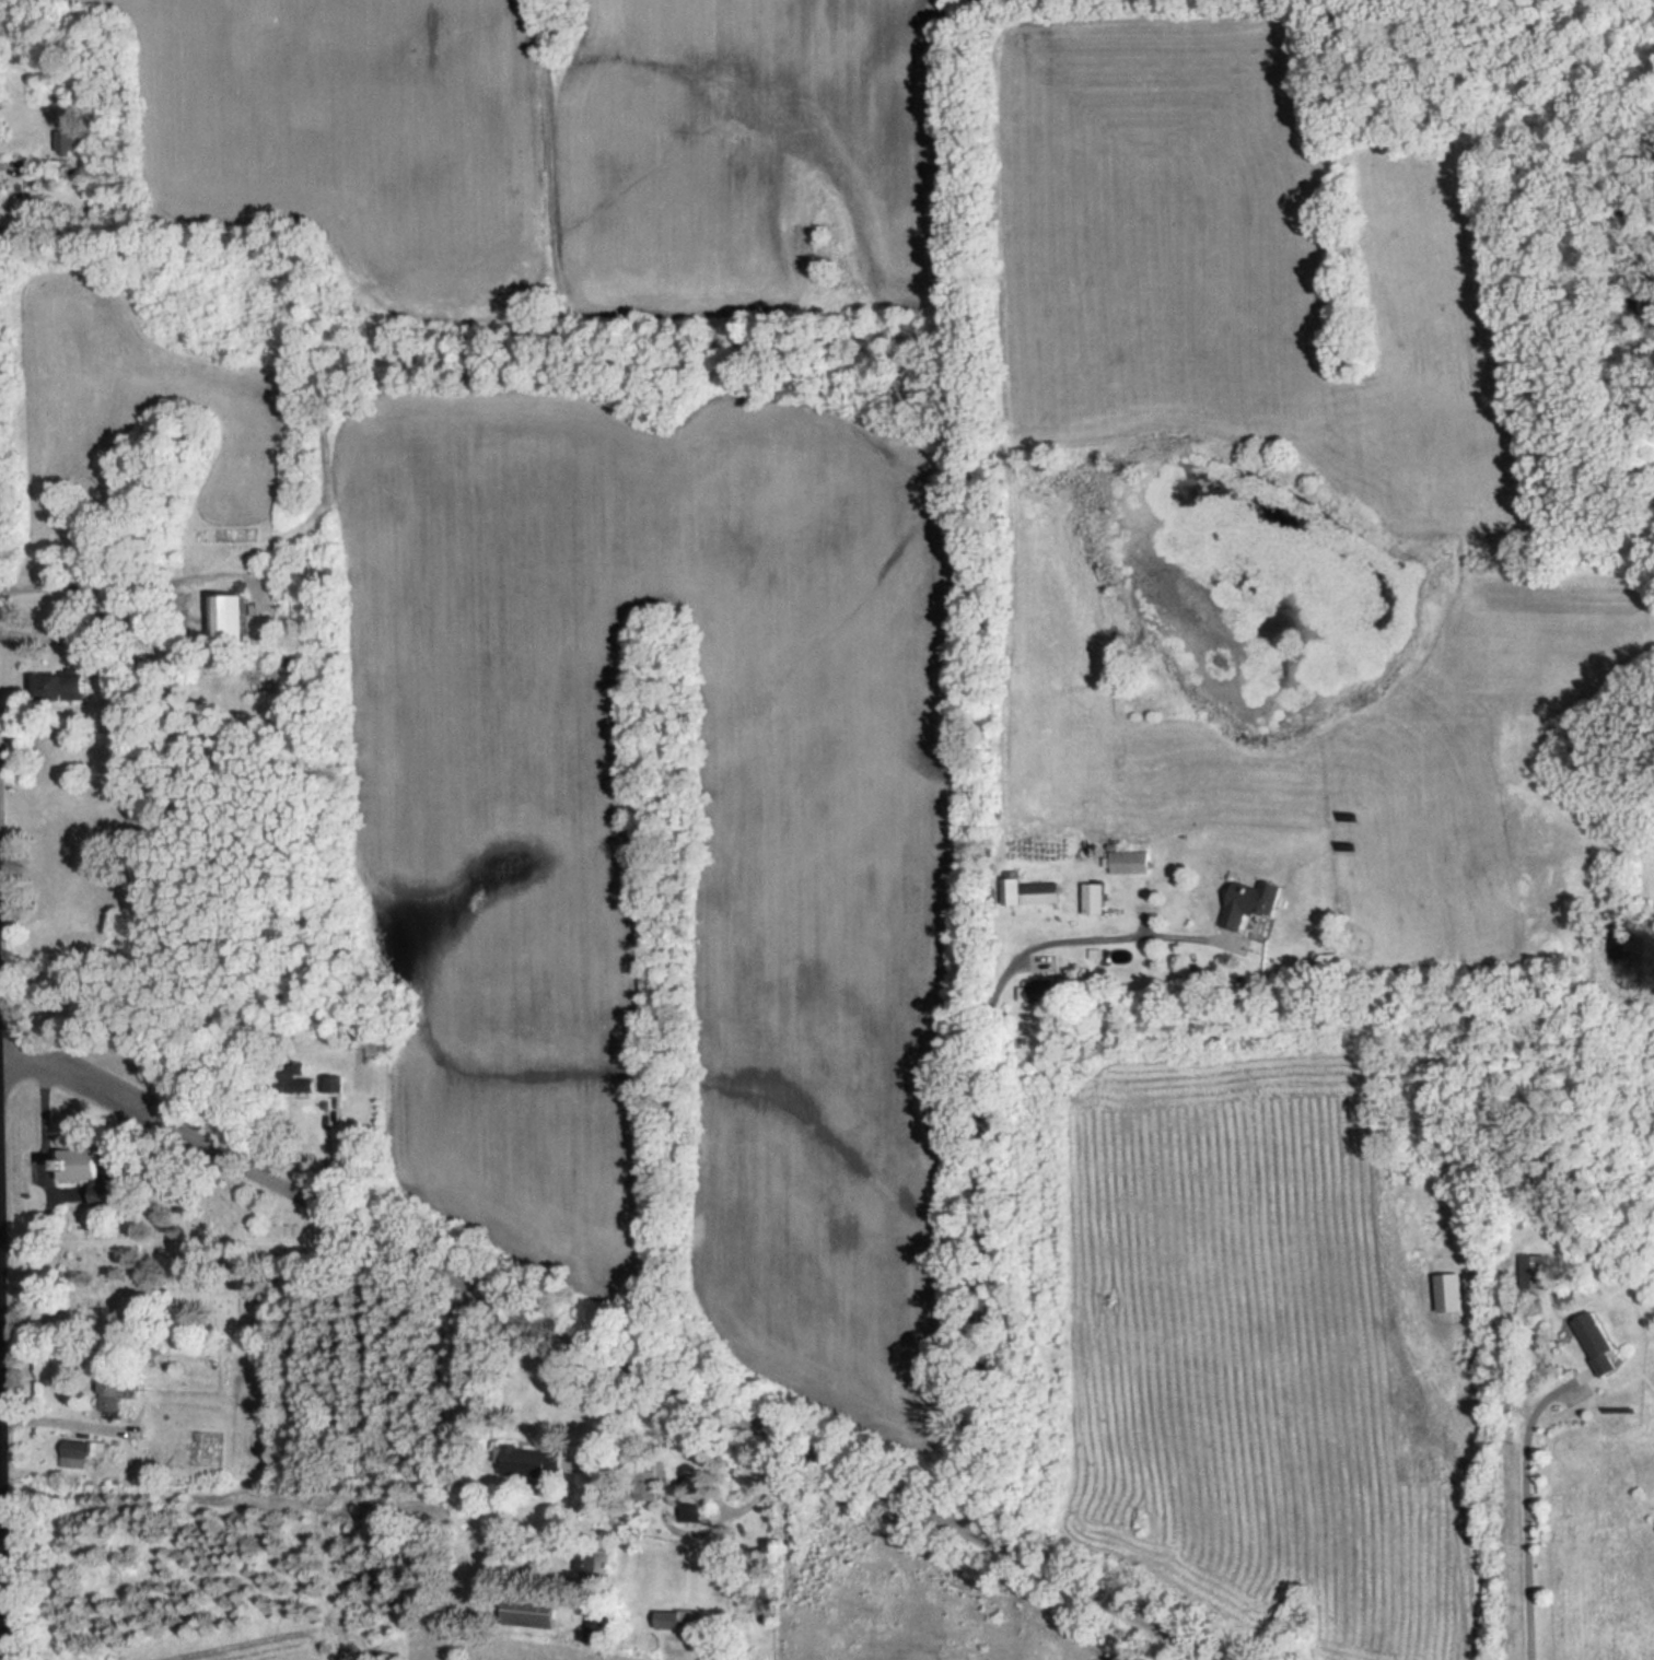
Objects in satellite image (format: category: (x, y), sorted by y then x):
building: (63, 141)
road: (103, 581)
building: (232, 617)
building: (66, 686)
building: (1129, 862)
building: (1034, 891)
building: (1094, 898)
building: (1246, 905)
road: (86, 1077)
road: (43, 1079)
road: (979, 1145)
building: (101, 1171)
road: (47, 1188)
building: (1535, 1272)
building: (1449, 1293)
building: (1600, 1343)
building: (113, 1387)
road: (695, 1395)
road: (59, 1423)
road: (2, 1518)
road: (1527, 1518)
building: (533, 1611)
building: (678, 1620)

